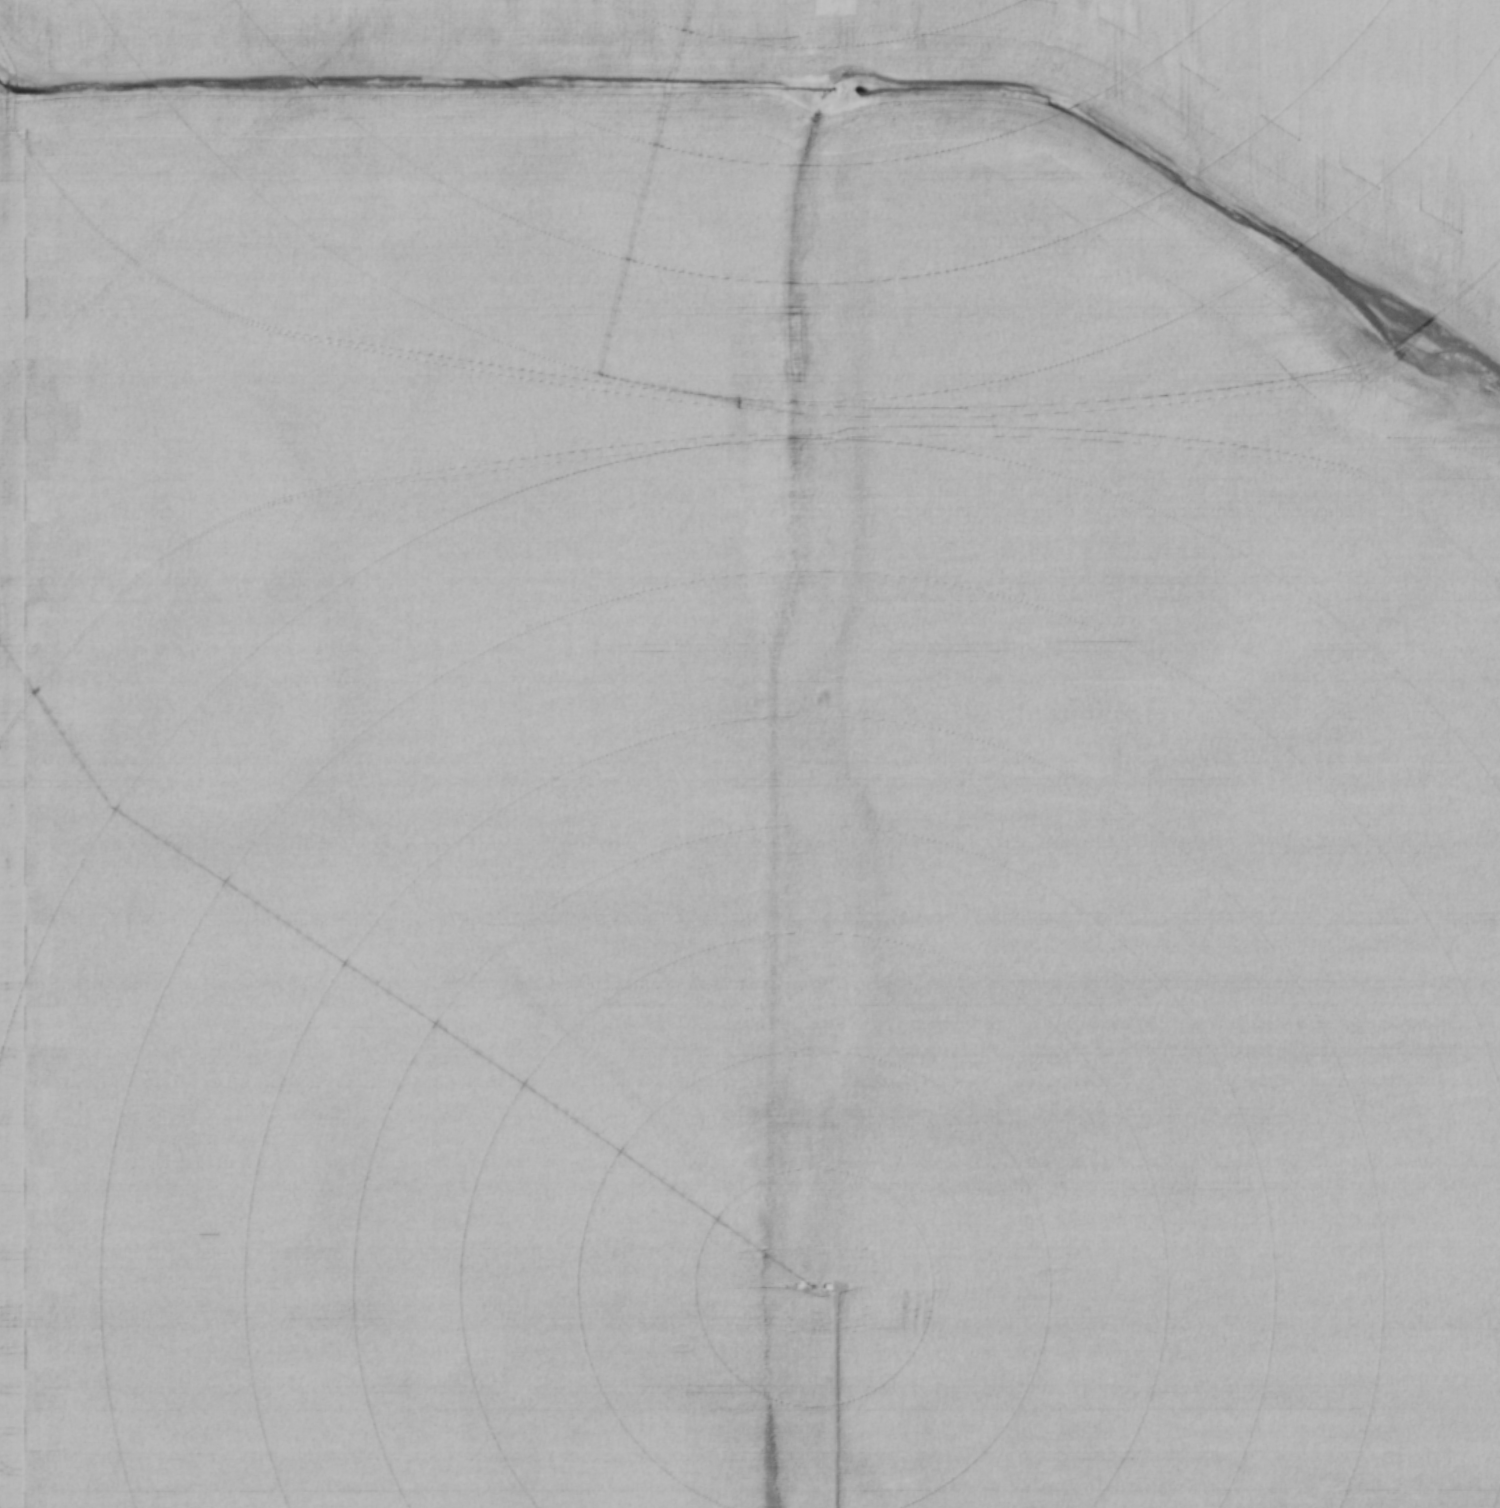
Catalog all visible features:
building: (809, 1277)

